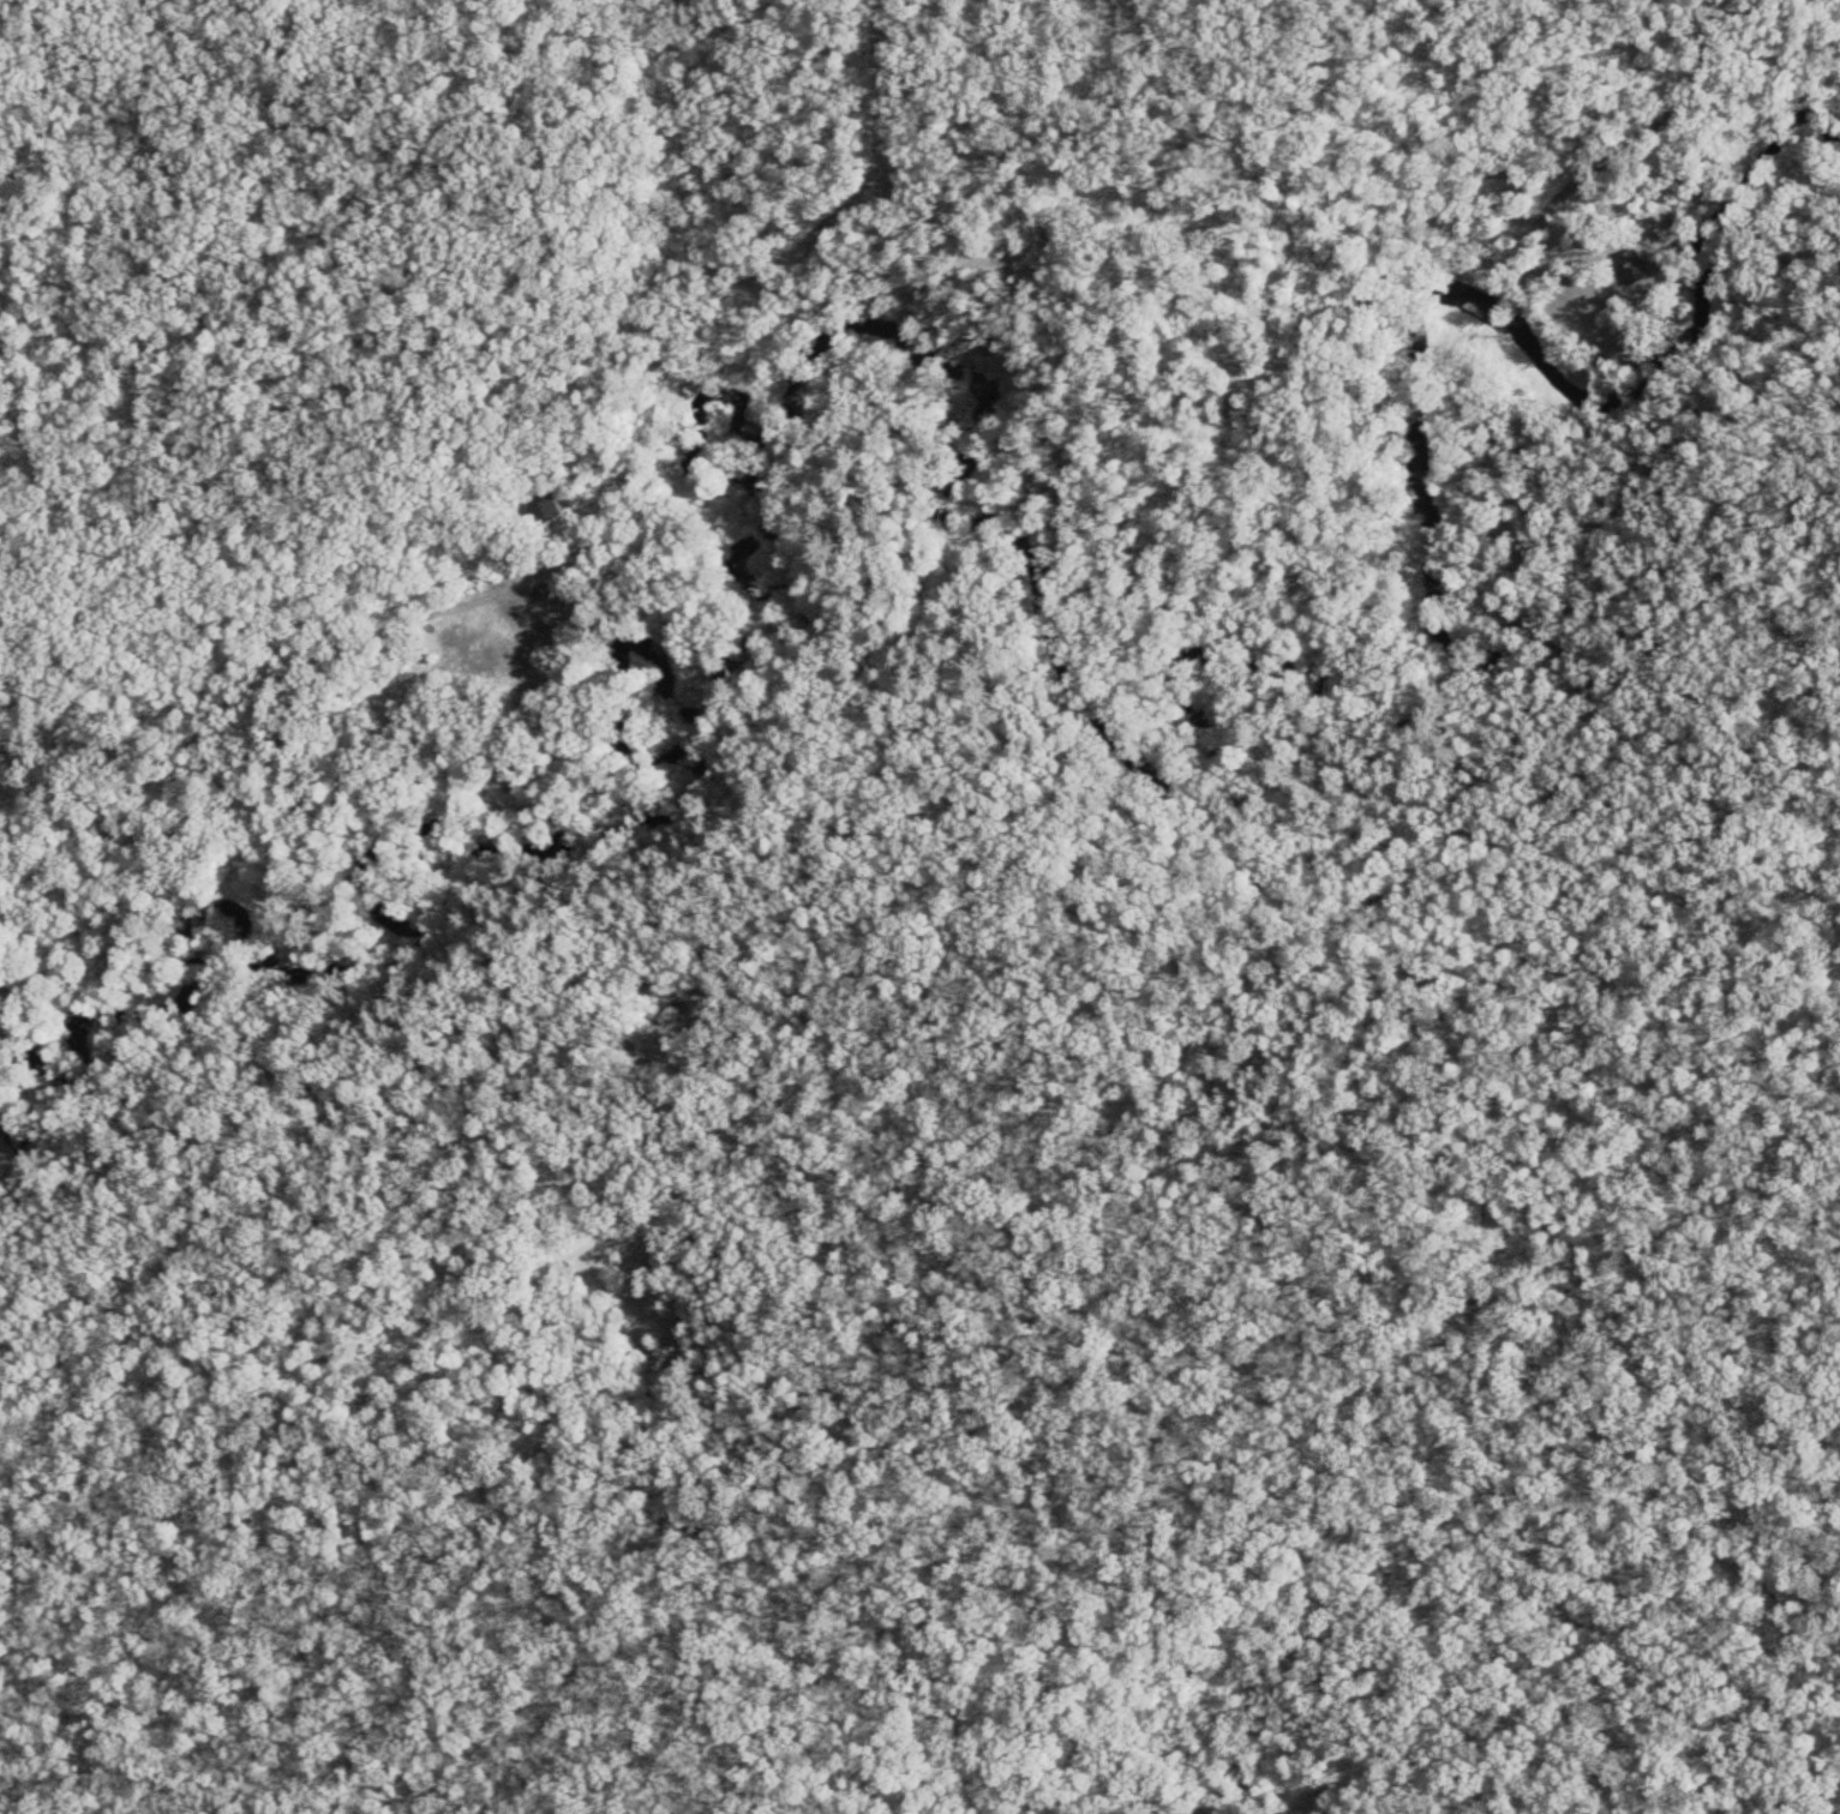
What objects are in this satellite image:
building: (1630, 268)
building: (543, 510)

